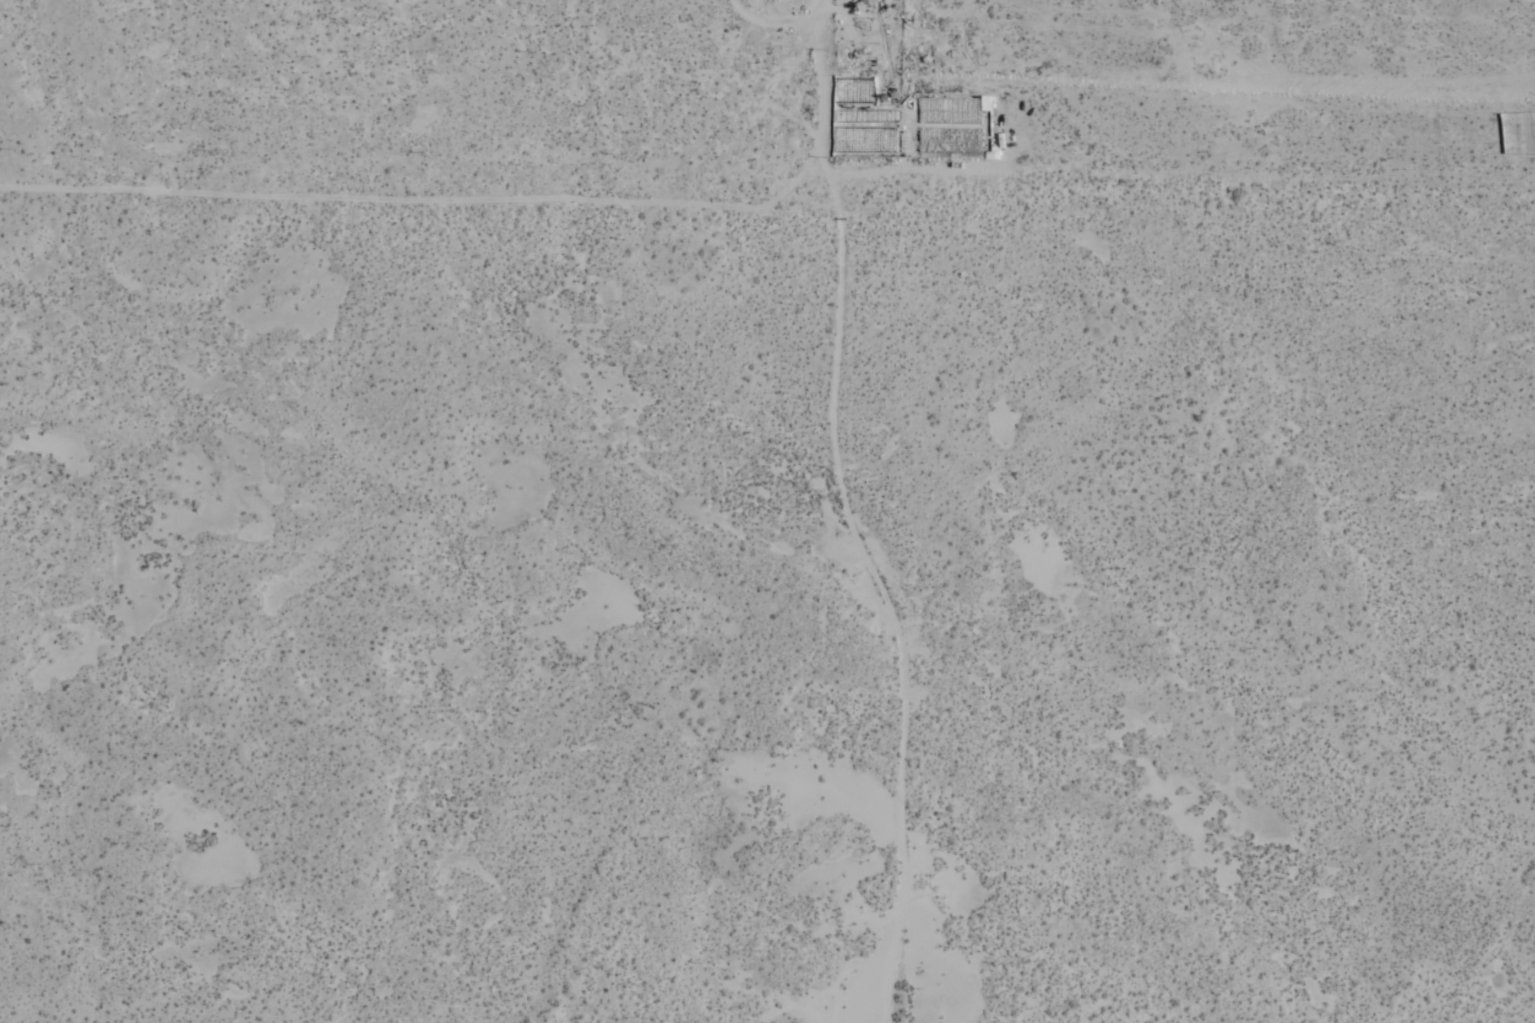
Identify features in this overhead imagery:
road: (852, 513)

